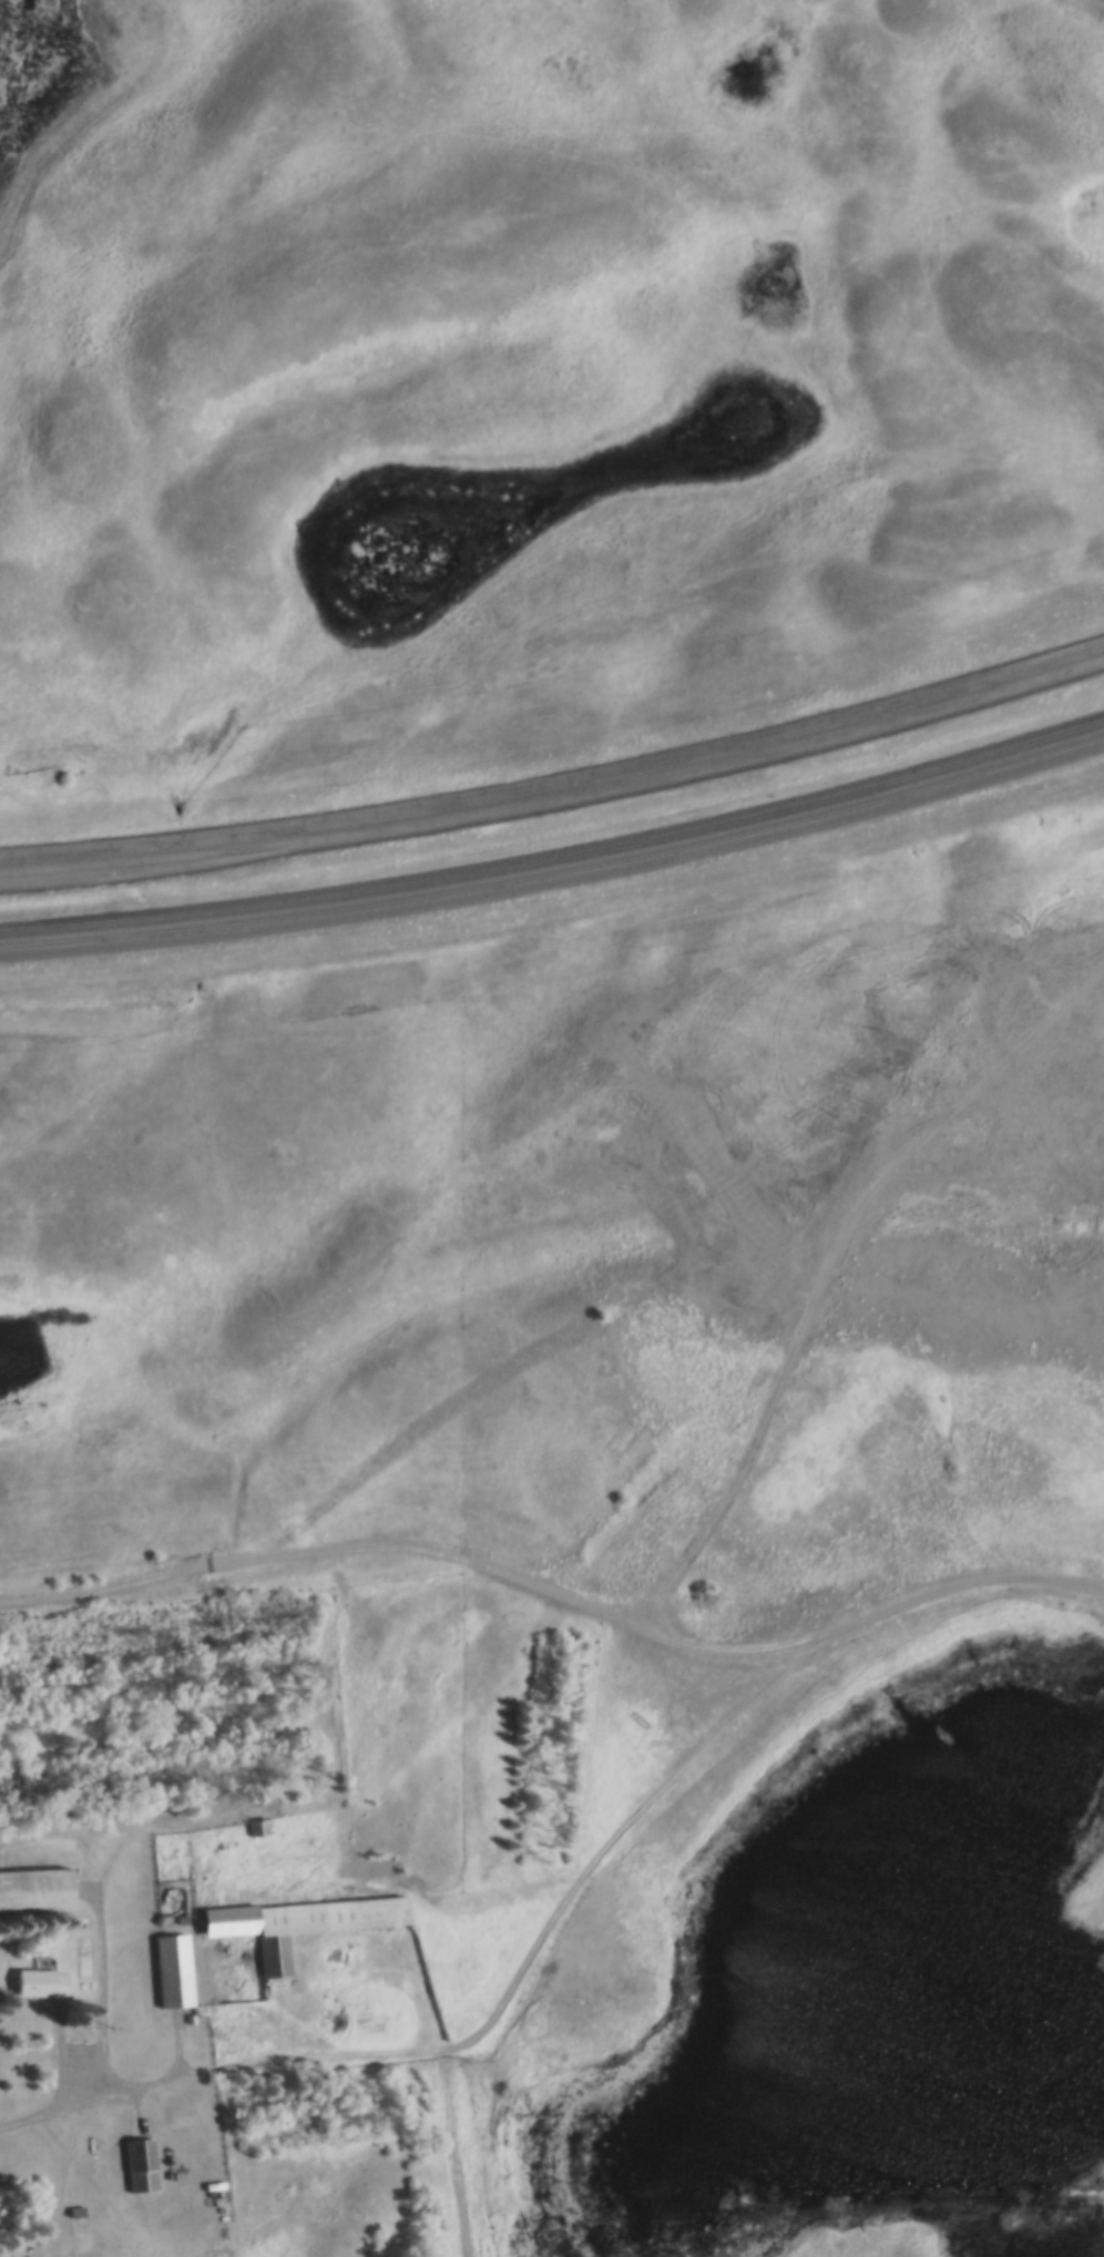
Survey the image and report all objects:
road: (558, 794)
road: (556, 864)
road: (558, 1594)
building: (37, 1893)
building: (303, 1926)
building: (175, 1972)
building: (40, 1984)
road: (101, 1999)
road: (413, 2051)
road: (121, 2090)
road: (41, 2143)
building: (142, 2166)
road: (59, 2176)

